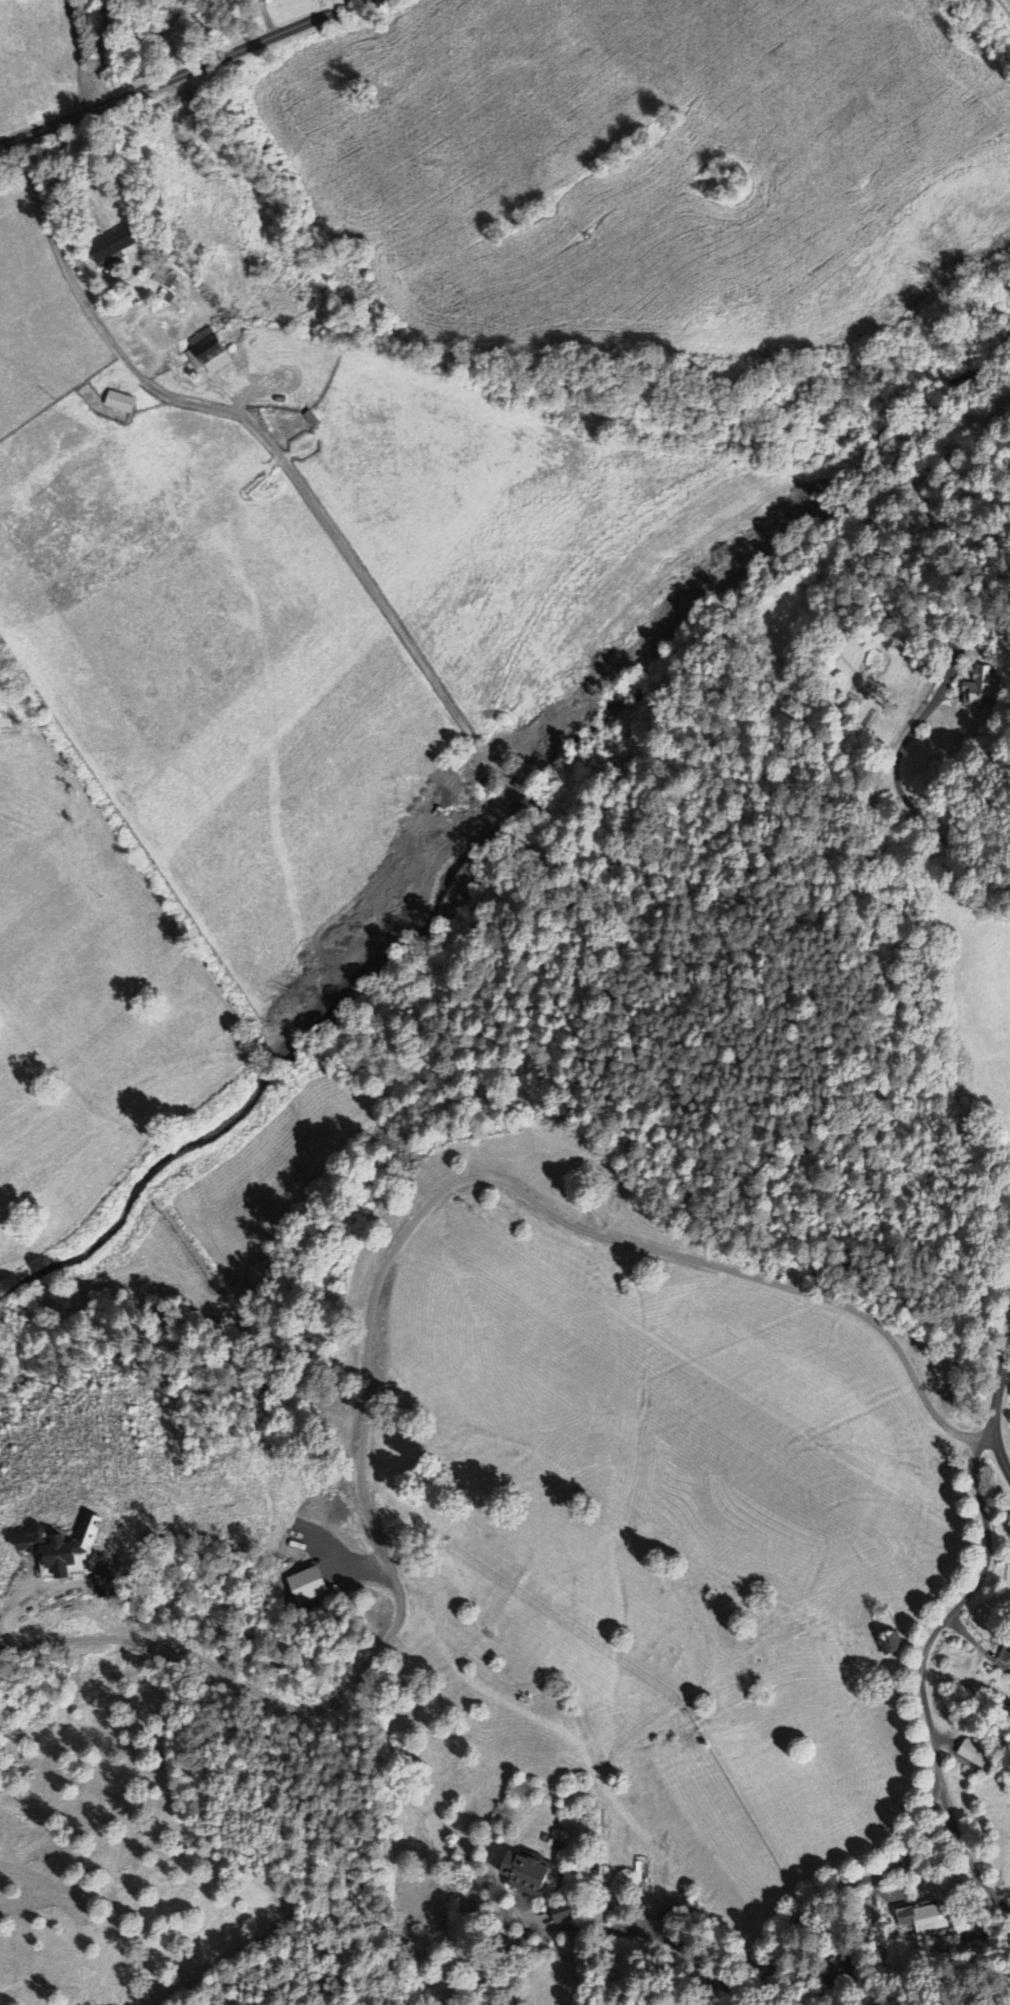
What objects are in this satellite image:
road: (100, 51)
road: (175, 73)
building: (125, 246)
building: (173, 283)
building: (214, 359)
building: (125, 403)
road: (995, 1407)
road: (958, 1605)
building: (1004, 1658)
building: (968, 1755)
road: (963, 1851)
building: (532, 1875)
road: (821, 1892)
building: (922, 1922)
road: (994, 1993)

